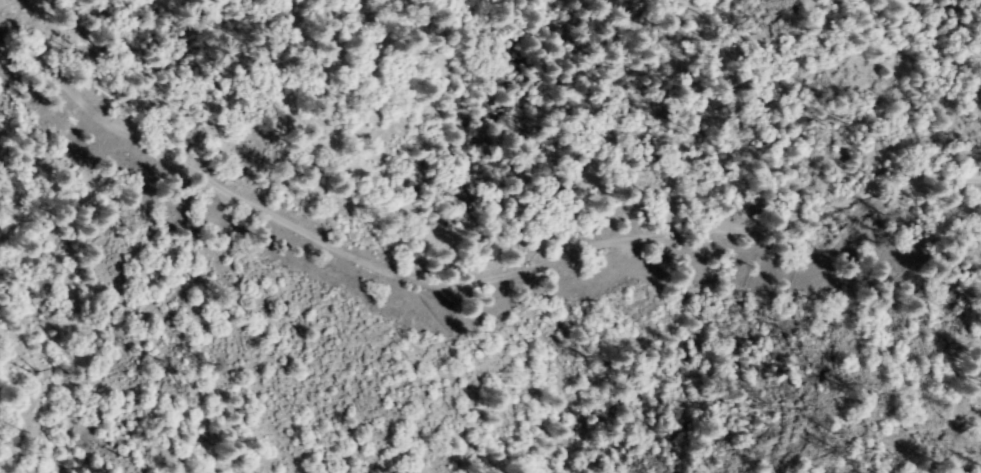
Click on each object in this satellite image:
road: (900, 181)
road: (378, 281)

